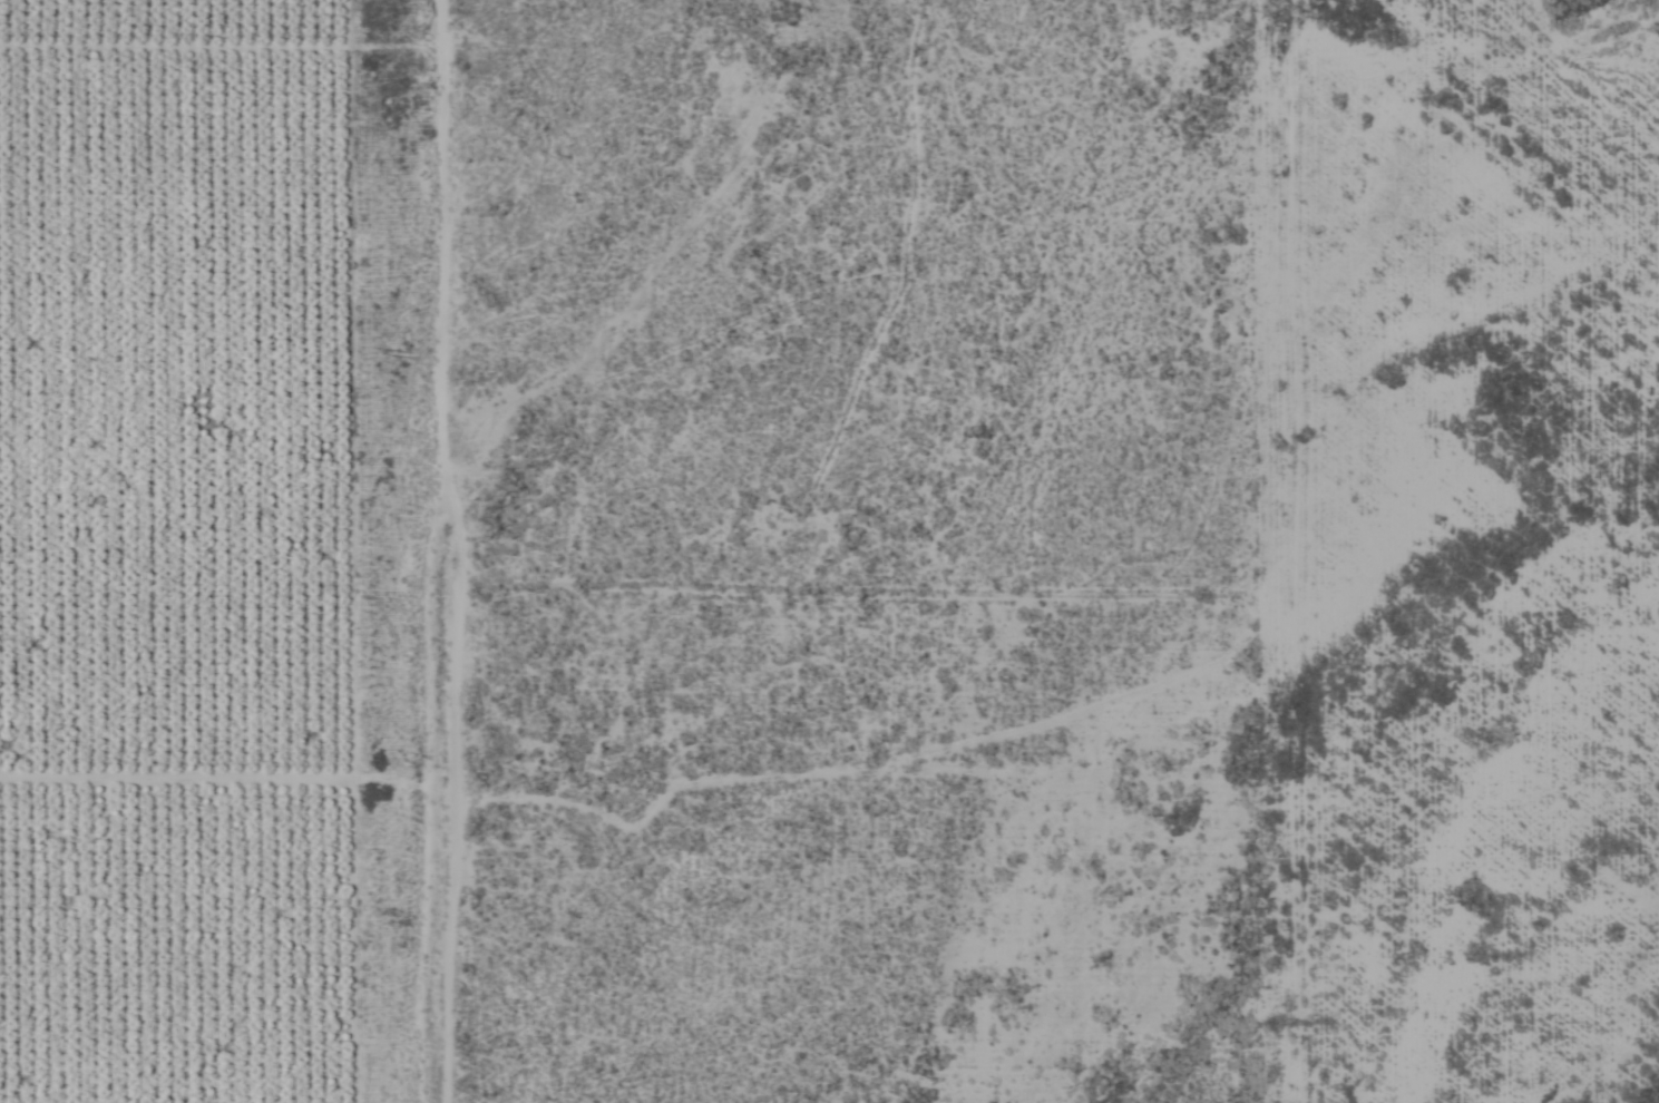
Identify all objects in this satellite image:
road: (427, 550)
road: (943, 556)
crop: (1584, 1101)

